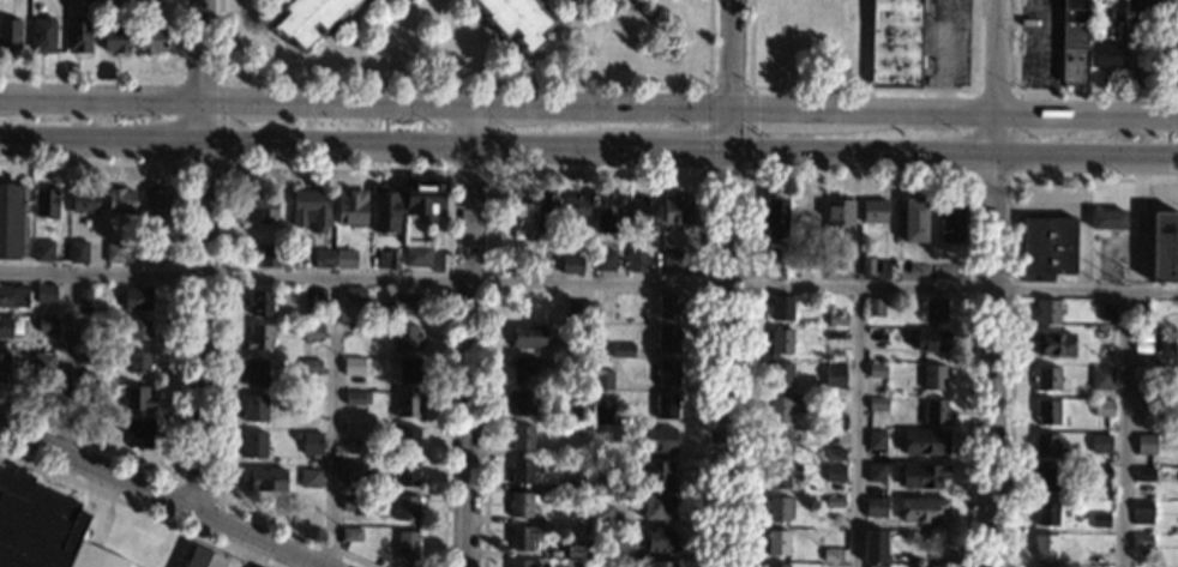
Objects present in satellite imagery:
building: (1142, 5)
building: (308, 17)
building: (515, 18)
building: (8, 34)
building: (42, 35)
building: (78, 36)
building: (115, 38)
building: (151, 40)
building: (897, 42)
building: (1074, 43)
building: (1105, 56)
building: (1173, 56)
road: (734, 76)
road: (1130, 79)
road: (589, 110)
road: (306, 145)
road: (673, 151)
road: (955, 155)
building: (422, 197)
building: (84, 200)
building: (46, 201)
building: (120, 201)
building: (156, 203)
building: (256, 207)
building: (350, 207)
building: (575, 207)
building: (545, 209)
building: (309, 210)
building: (677, 210)
building: (384, 211)
building: (875, 211)
building: (607, 212)
building: (641, 213)
building: (839, 213)
building: (805, 215)
building: (776, 218)
building: (914, 219)
building: (1107, 219)
building: (950, 221)
building: (13, 222)
building: (1048, 247)
building: (1165, 247)
building: (43, 251)
building: (77, 251)
building: (152, 252)
building: (114, 253)
road: (202, 254)
building: (416, 255)
building: (259, 257)
building: (321, 258)
building: (344, 259)
building: (392, 260)
building: (542, 260)
building: (603, 261)
building: (637, 261)
building: (671, 263)
building: (571, 264)
building: (866, 264)
building: (801, 265)
road: (589, 281)
road: (992, 283)
building: (46, 294)
building: (354, 294)
building: (13, 296)
building: (85, 296)
building: (138, 298)
building: (319, 300)
building: (259, 303)
building: (404, 303)
building: (603, 304)
building: (668, 306)
building: (780, 307)
building: (875, 307)
building: (578, 309)
building: (934, 310)
building: (1047, 312)
building: (1107, 312)
building: (1140, 313)
building: (837, 319)
building: (47, 324)
building: (5, 327)
building: (1141, 328)
building: (139, 330)
building: (313, 332)
building: (259, 336)
building: (528, 336)
building: (405, 337)
road: (468, 337)
building: (667, 339)
building: (780, 340)
building: (834, 340)
building: (931, 340)
building: (1053, 344)
building: (579, 348)
building: (621, 350)
building: (88, 357)
road: (727, 358)
building: (1154, 360)
building: (44, 363)
building: (138, 363)
building: (353, 366)
road: (68, 367)
building: (311, 367)
building: (583, 367)
building: (4, 368)
building: (367, 369)
building: (408, 369)
building: (524, 369)
building: (876, 369)
building: (254, 372)
building: (666, 373)
building: (780, 375)
building: (1177, 375)
building: (835, 376)
building: (933, 376)
building: (1050, 379)
building: (1101, 379)
building: (602, 380)
building: (355, 397)
building: (136, 398)
building: (522, 403)
building: (877, 404)
building: (407, 405)
building: (666, 406)
building: (781, 406)
building: (1146, 406)
building: (1102, 408)
building: (254, 409)
building: (934, 411)
building: (1046, 411)
building: (567, 412)
building: (602, 412)
building: (1176, 412)
building: (830, 421)
road: (331, 422)
building: (89, 423)
road: (858, 426)
building: (578, 429)
road: (1125, 429)
building: (136, 430)
building: (295, 435)
building: (522, 438)
building: (408, 439)
building: (660, 439)
building: (876, 440)
building: (925, 441)
building: (779, 442)
building: (253, 444)
building: (312, 444)
building: (1100, 444)
building: (1146, 444)
building: (1046, 446)
building: (835, 454)
building: (353, 471)
building: (521, 472)
building: (834, 472)
building: (876, 472)
building: (1101, 472)
building: (407, 473)
building: (656, 473)
building: (781, 475)
building: (1144, 475)
building: (922, 476)
building: (309, 478)
building: (1047, 478)
building: (264, 479)
building: (573, 484)
building: (612, 484)
building: (578, 495)
road: (163, 496)
building: (834, 502)
building: (351, 503)
building: (519, 505)
building: (405, 507)
building: (657, 507)
building: (876, 507)
building: (777, 508)
building: (922, 509)
building: (1045, 513)
building: (1141, 513)
building: (600, 515)
building: (1099, 520)
building: (43, 527)
building: (350, 535)
building: (524, 538)
building: (660, 539)
building: (1141, 539)
building: (776, 542)
building: (407, 544)
building: (875, 547)
building: (1045, 547)
building: (573, 550)
building: (831, 555)
building: (203, 559)
building: (1098, 559)
building: (522, 563)
building: (662, 565)
building: (776, 565)
building: (795, 566)
building: (831, 566)
building: (876, 566)
building: (927, 566)

